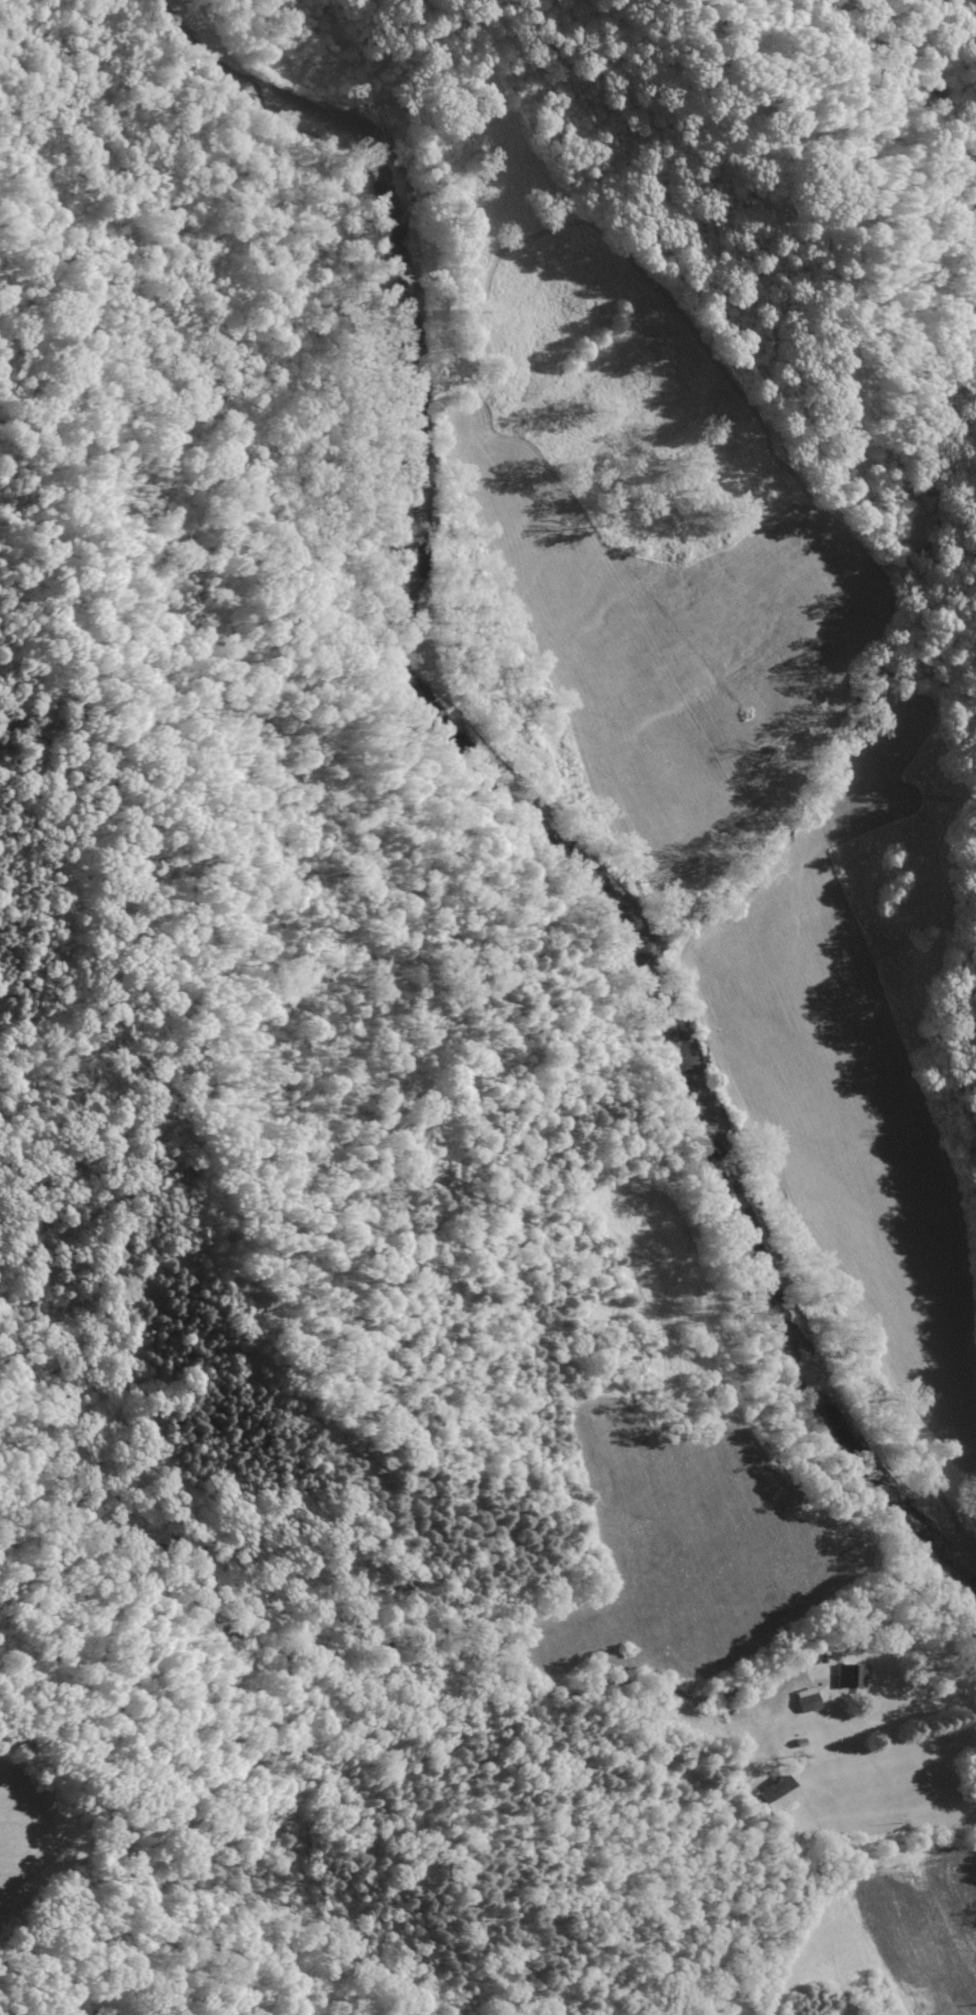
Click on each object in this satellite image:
road: (946, 1678)
building: (805, 1701)
building: (773, 1796)

